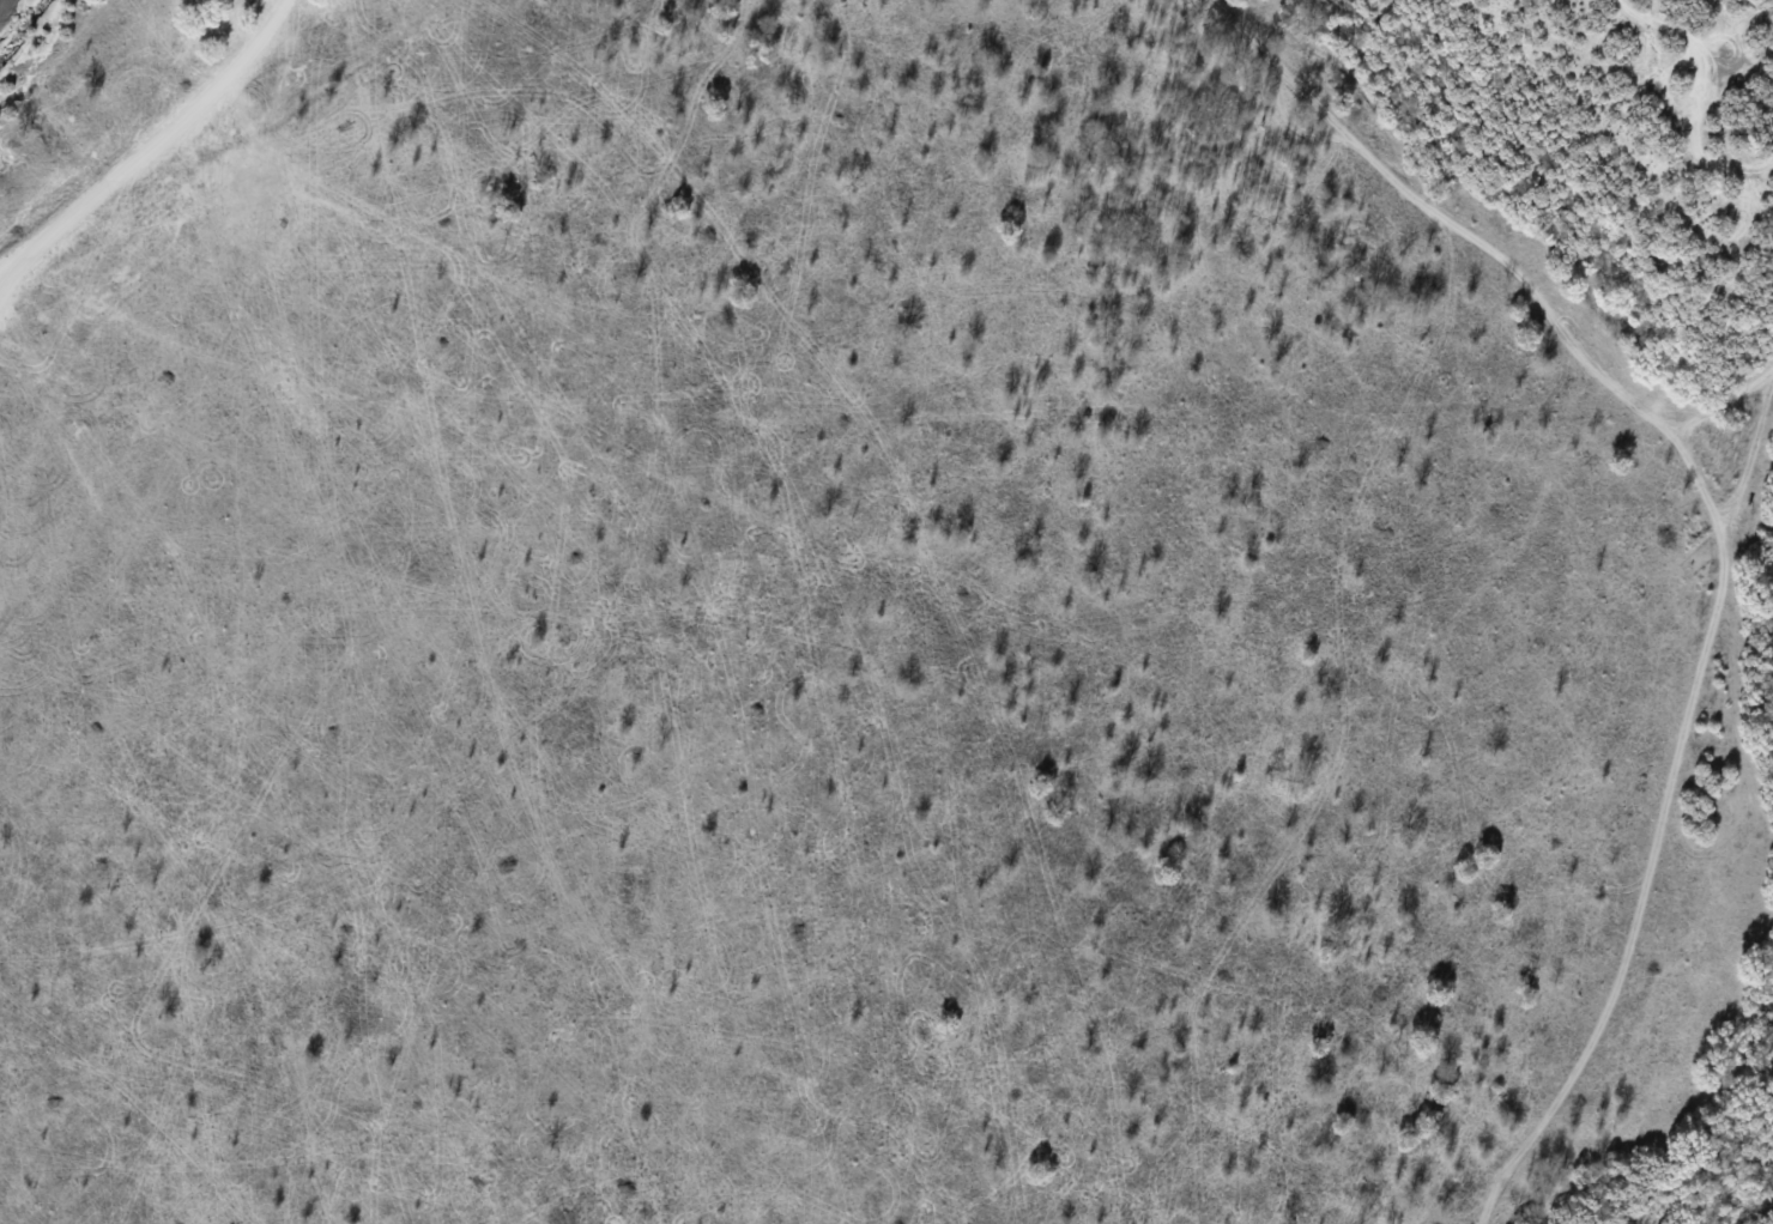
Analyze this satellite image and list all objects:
river: (2, 2)
road: (152, 146)

